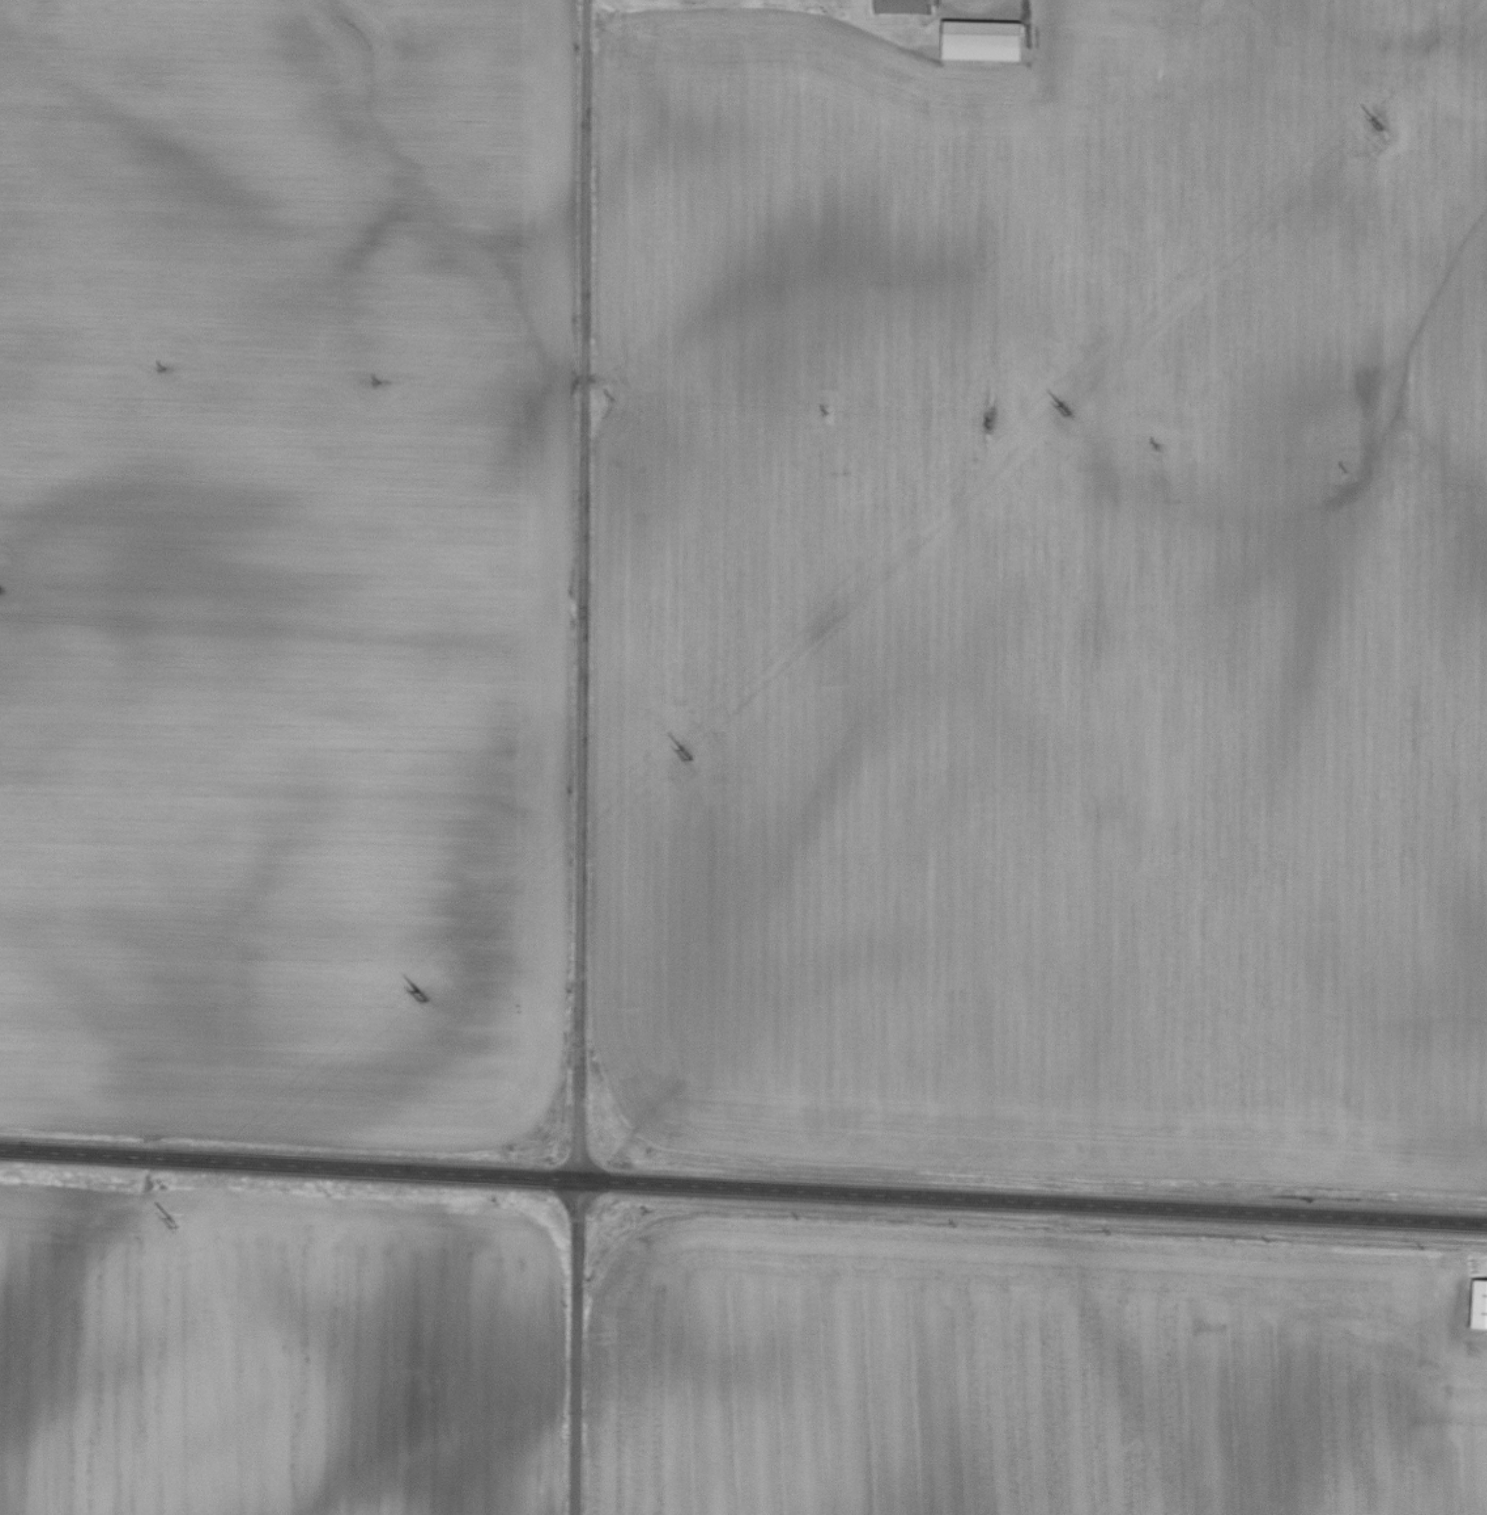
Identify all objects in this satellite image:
building: (899, 6)
building: (979, 40)
power tower: (1376, 129)
power tower: (1068, 414)
road: (583, 757)
power tower: (688, 759)
power tower: (419, 1001)
road: (743, 1190)
power tower: (173, 1226)
building: (1479, 1304)

